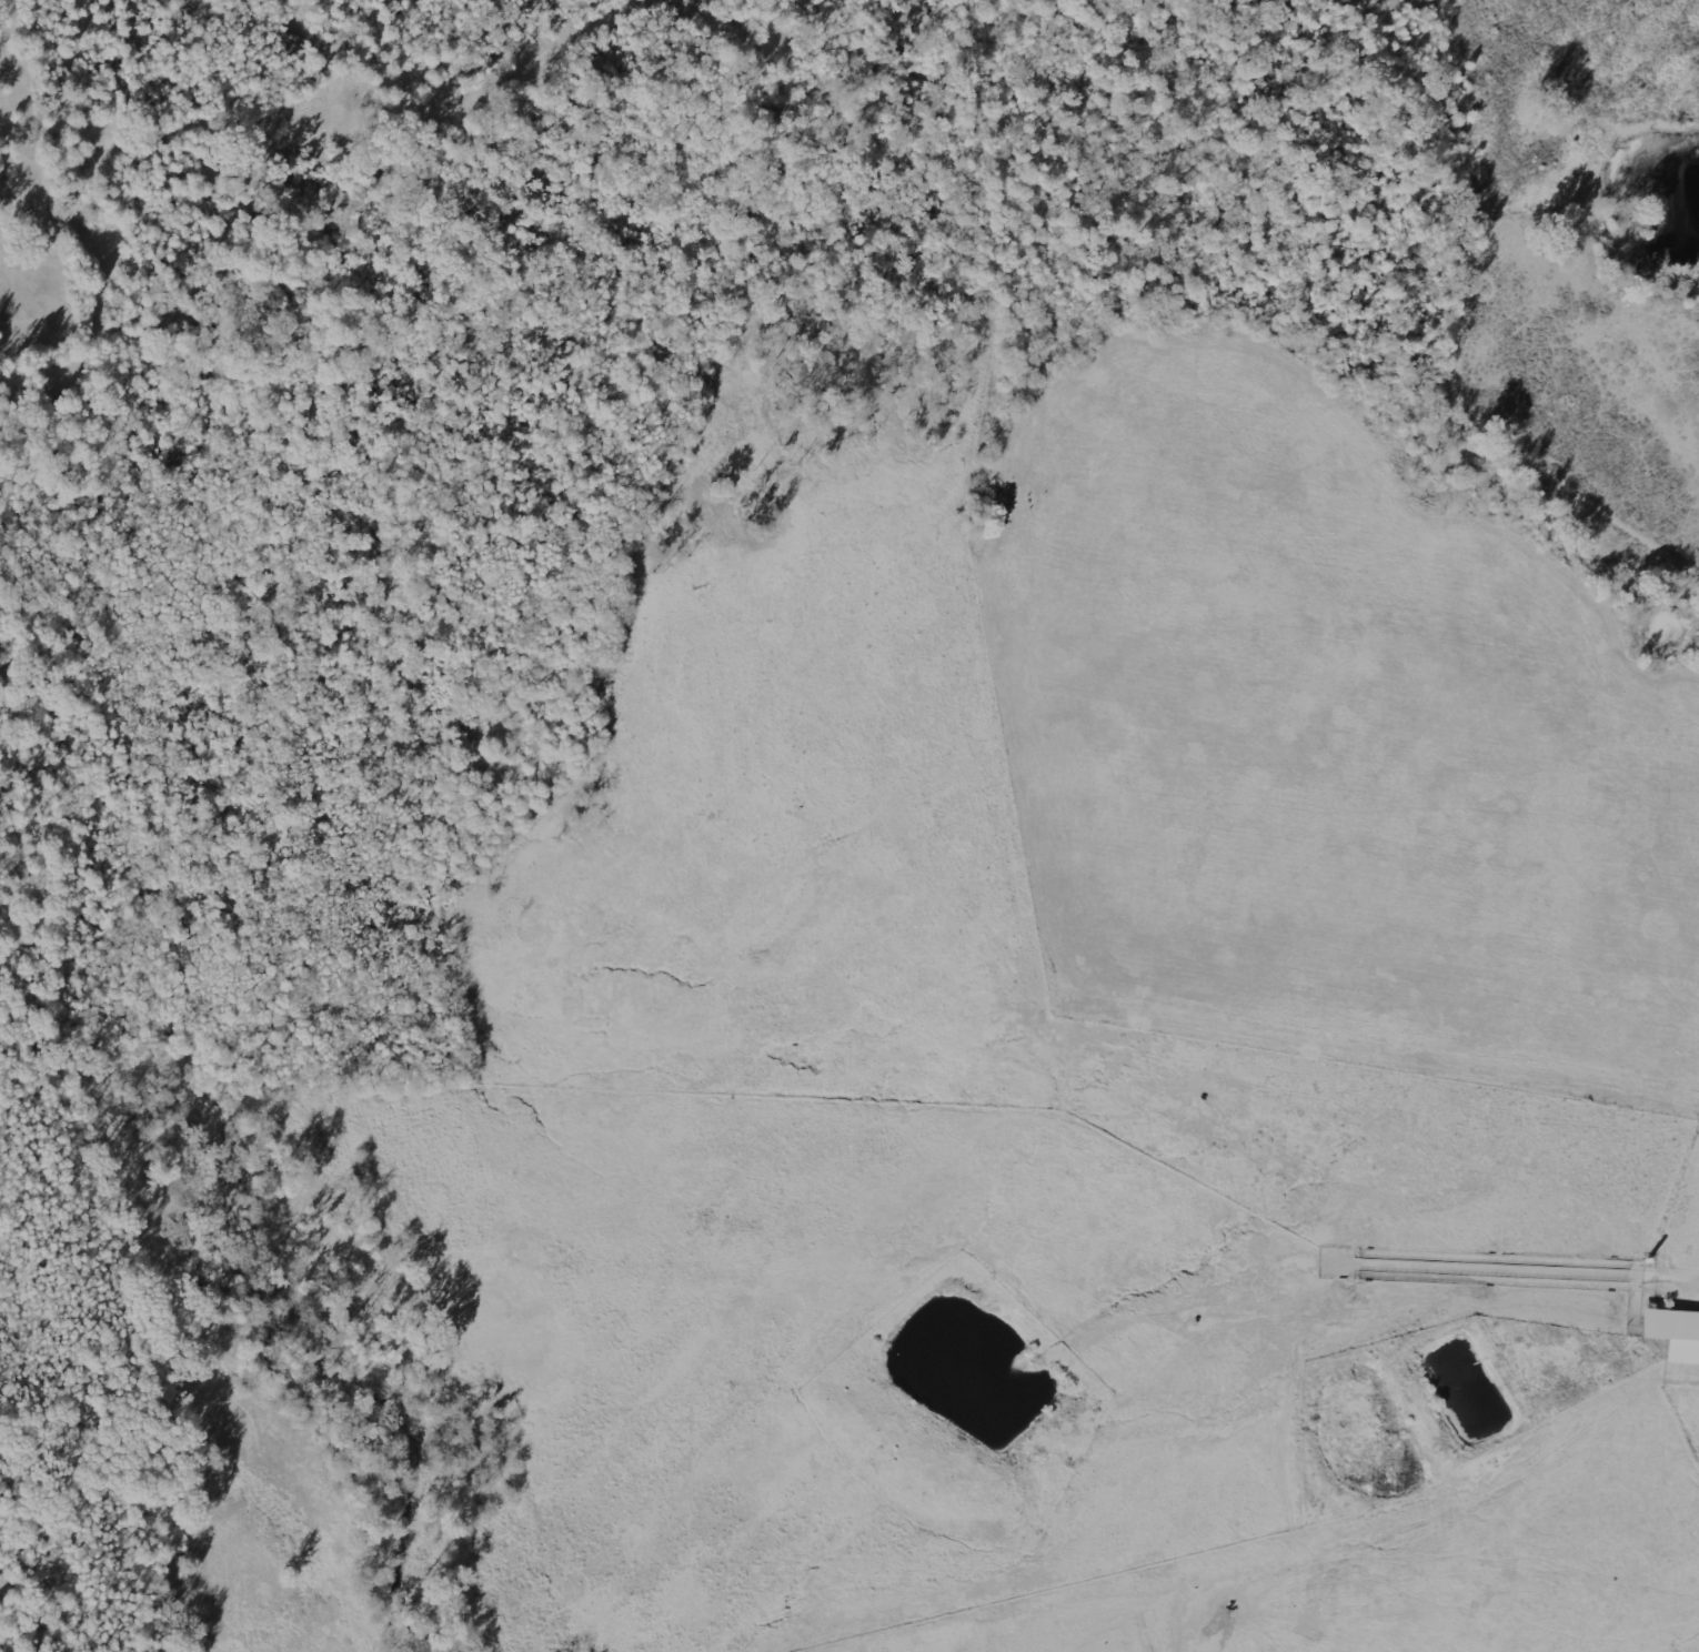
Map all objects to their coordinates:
building: (1671, 1333)

